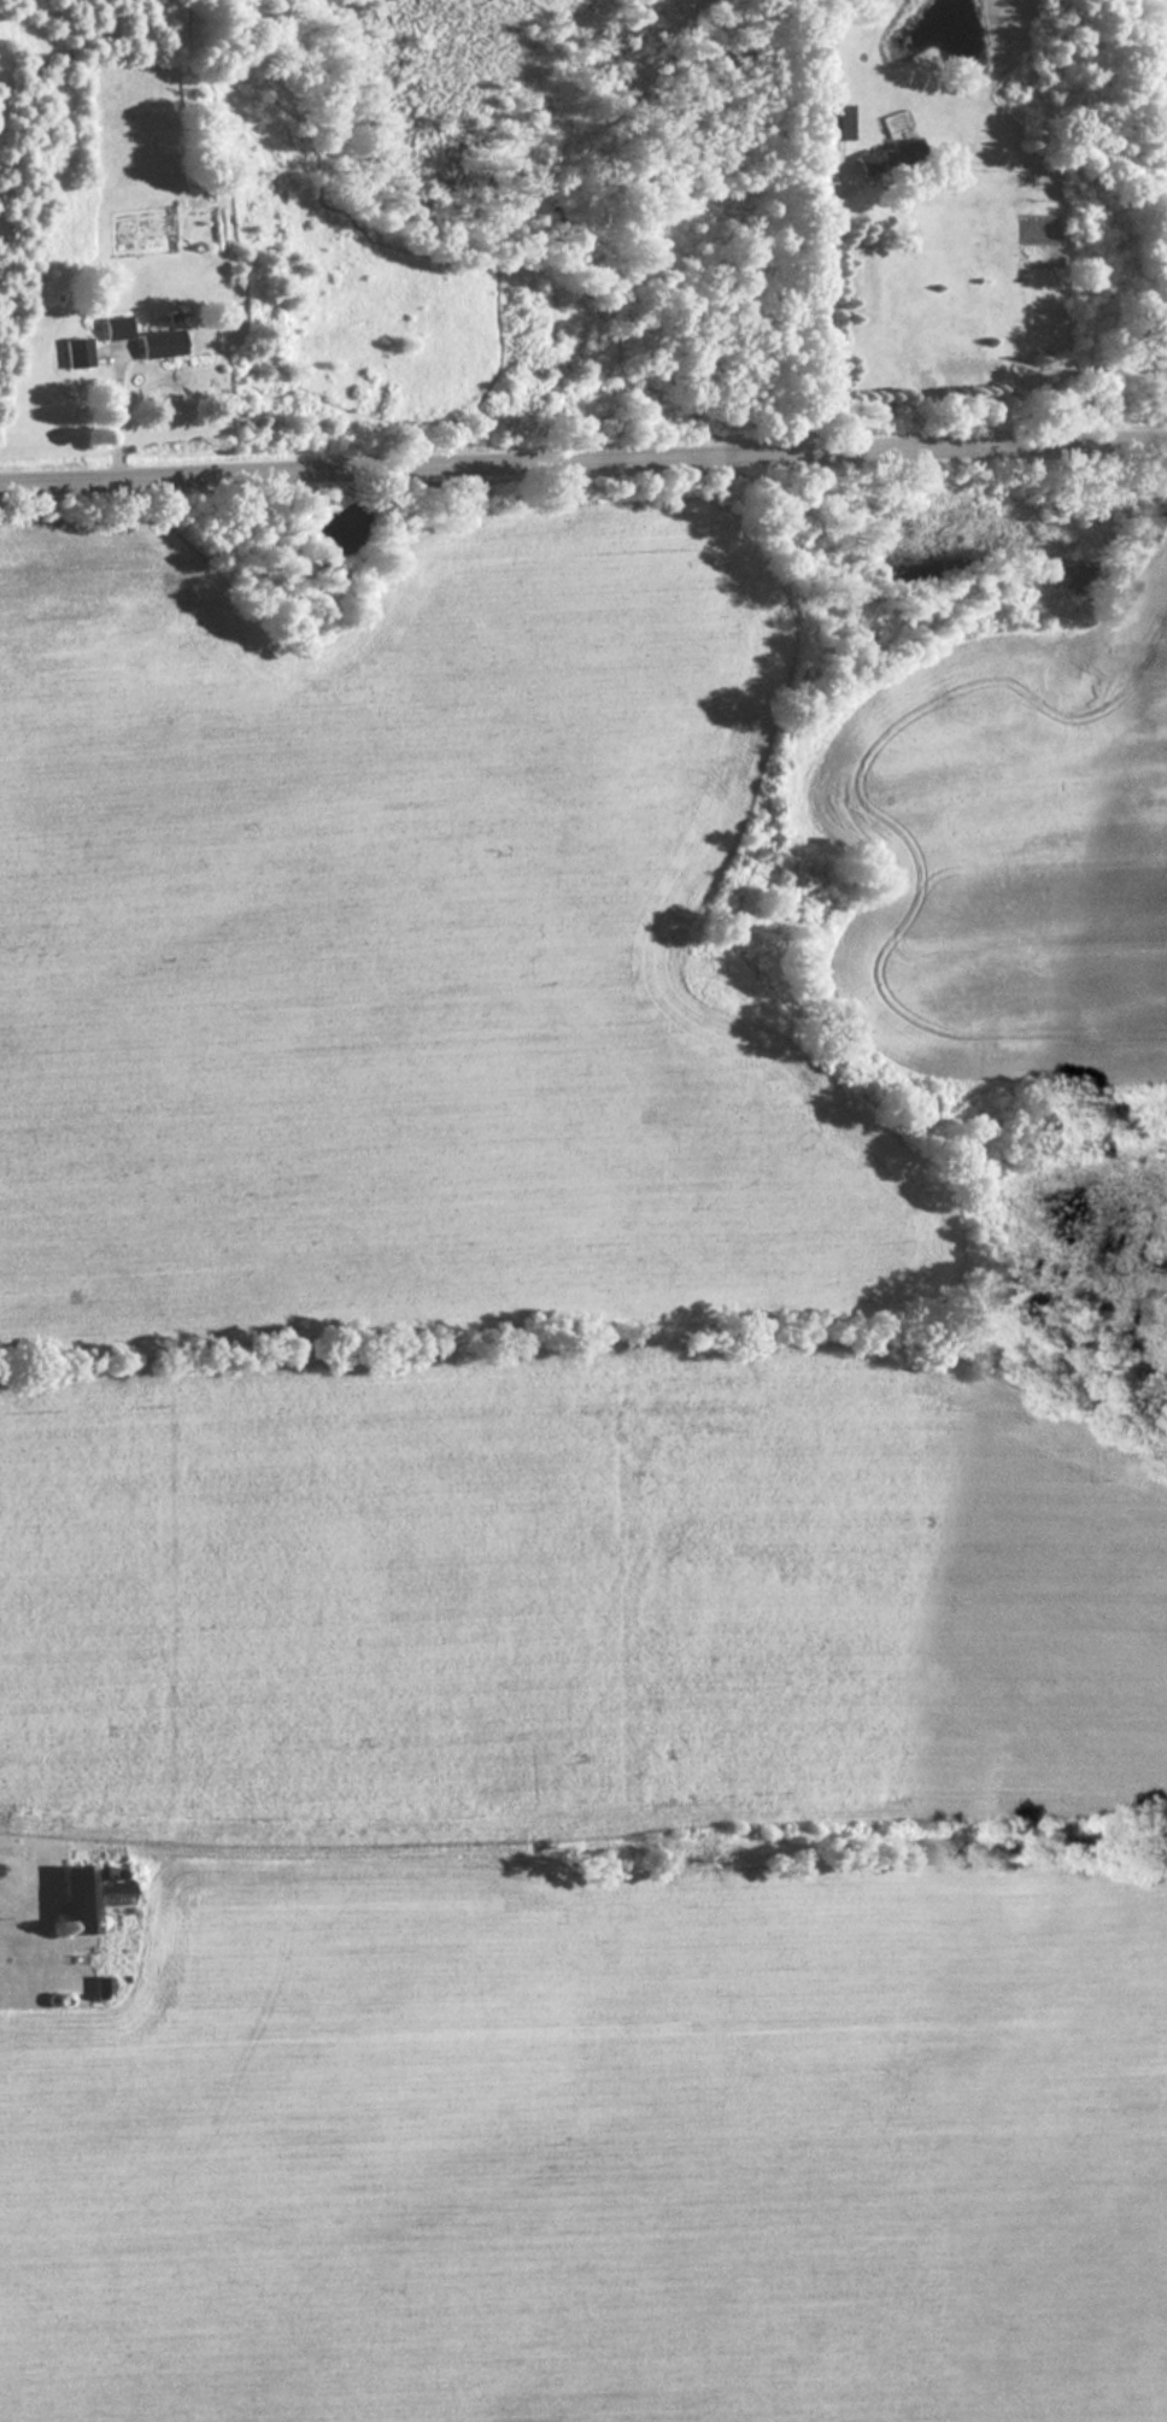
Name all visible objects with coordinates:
building: (887, 156)
road: (815, 307)
building: (115, 327)
building: (159, 342)
building: (77, 351)
road: (117, 404)
road: (582, 447)
building: (89, 1896)

